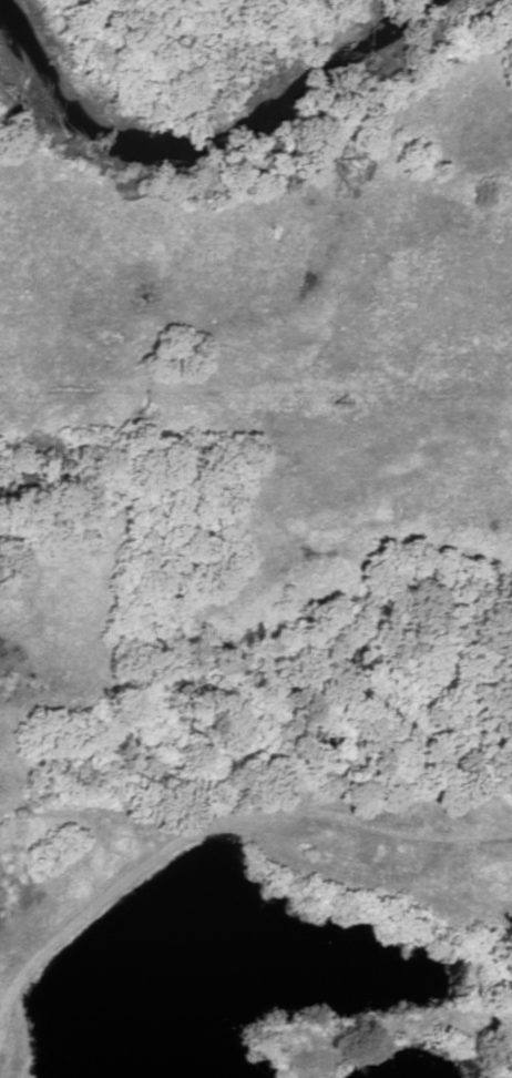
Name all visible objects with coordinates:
river: (207, 122)
power tower: (339, 403)

